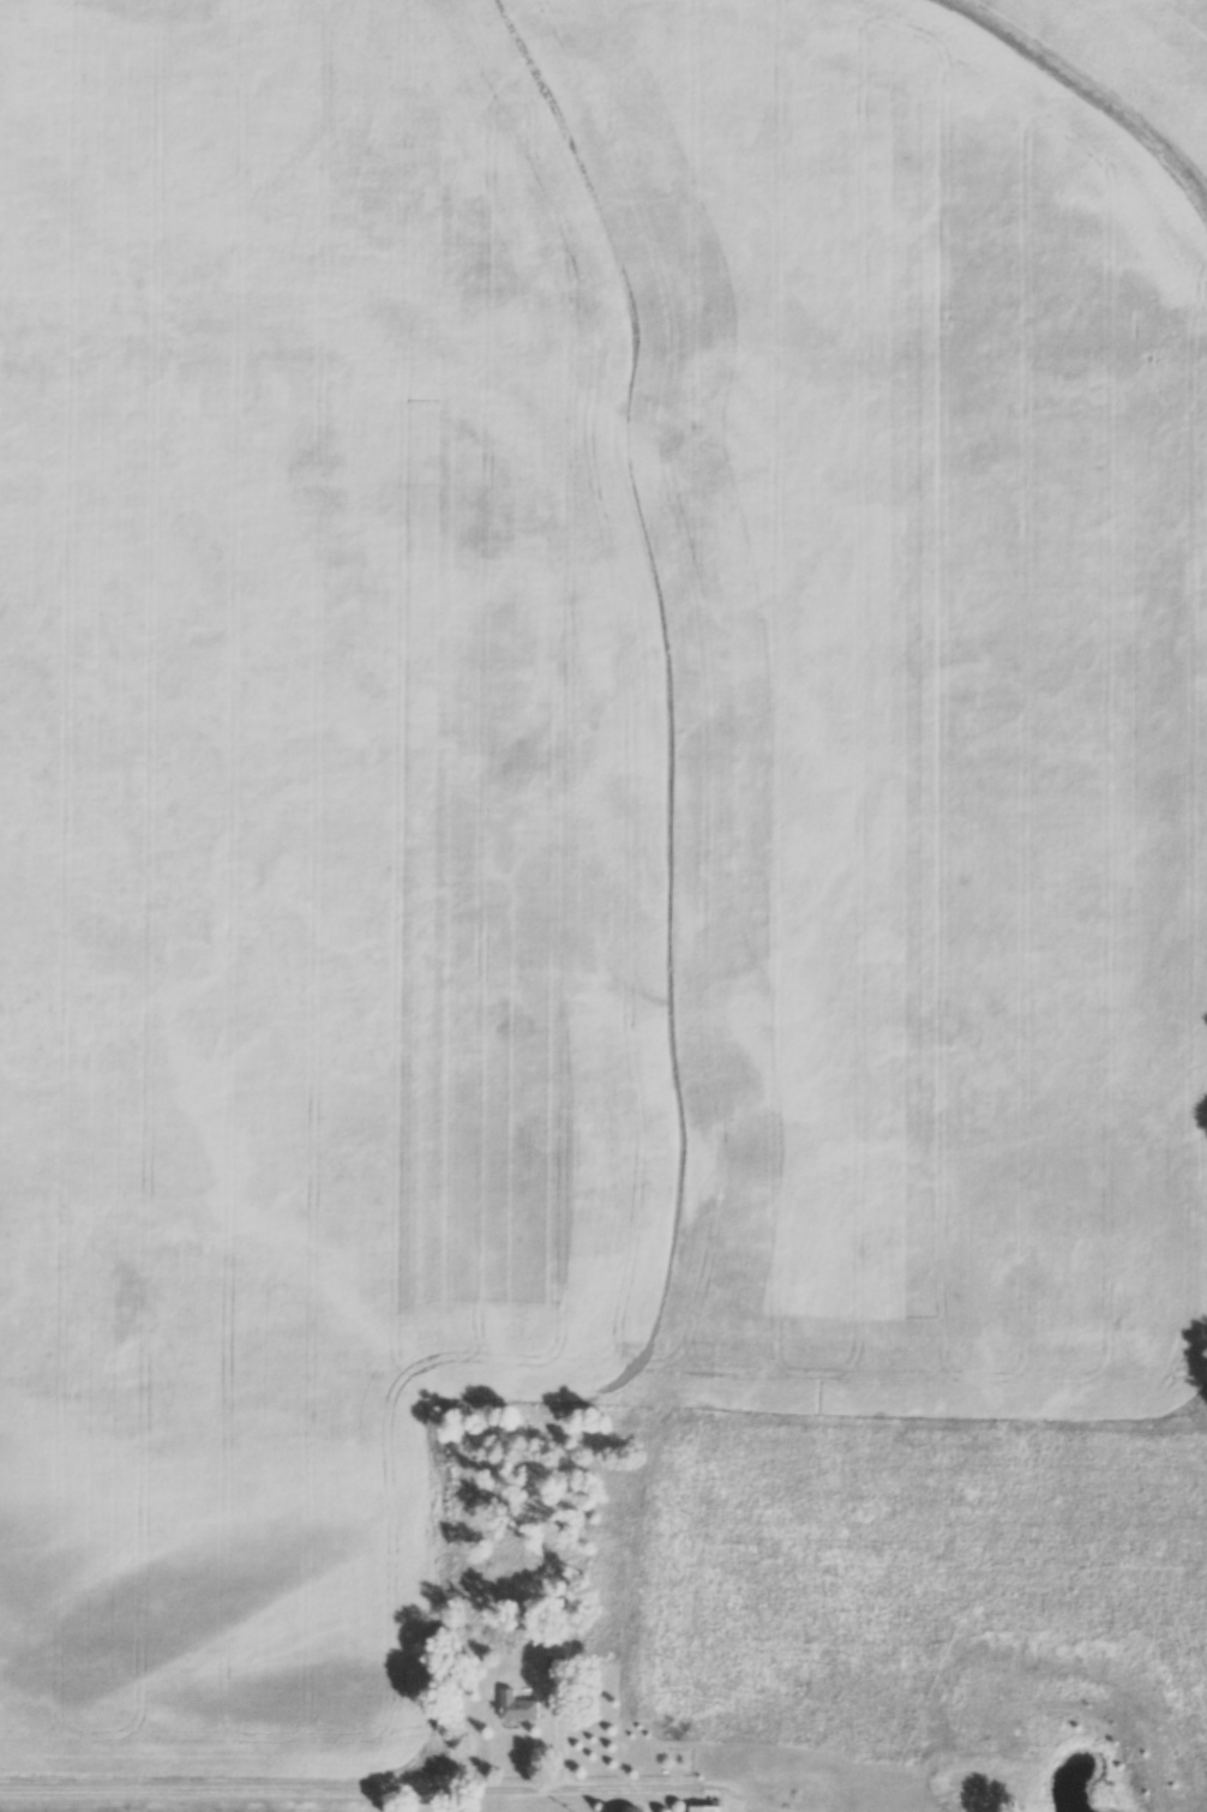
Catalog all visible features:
building: (556, 1666)
building: (517, 1709)
road: (319, 1787)
building: (704, 1810)
building: (629, 1811)

